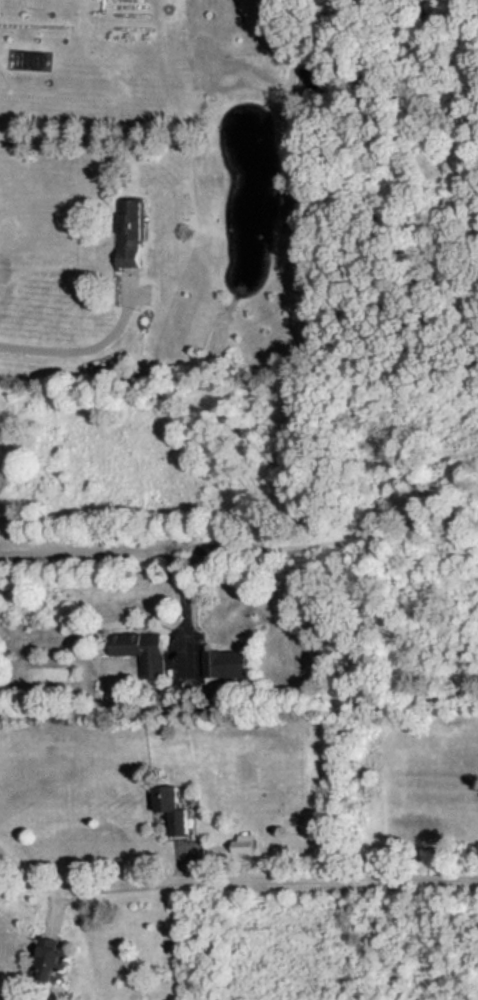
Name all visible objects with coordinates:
building: (126, 232)
road: (87, 343)
road: (104, 546)
building: (139, 648)
building: (225, 664)
building: (176, 810)
road: (233, 882)
building: (49, 957)

